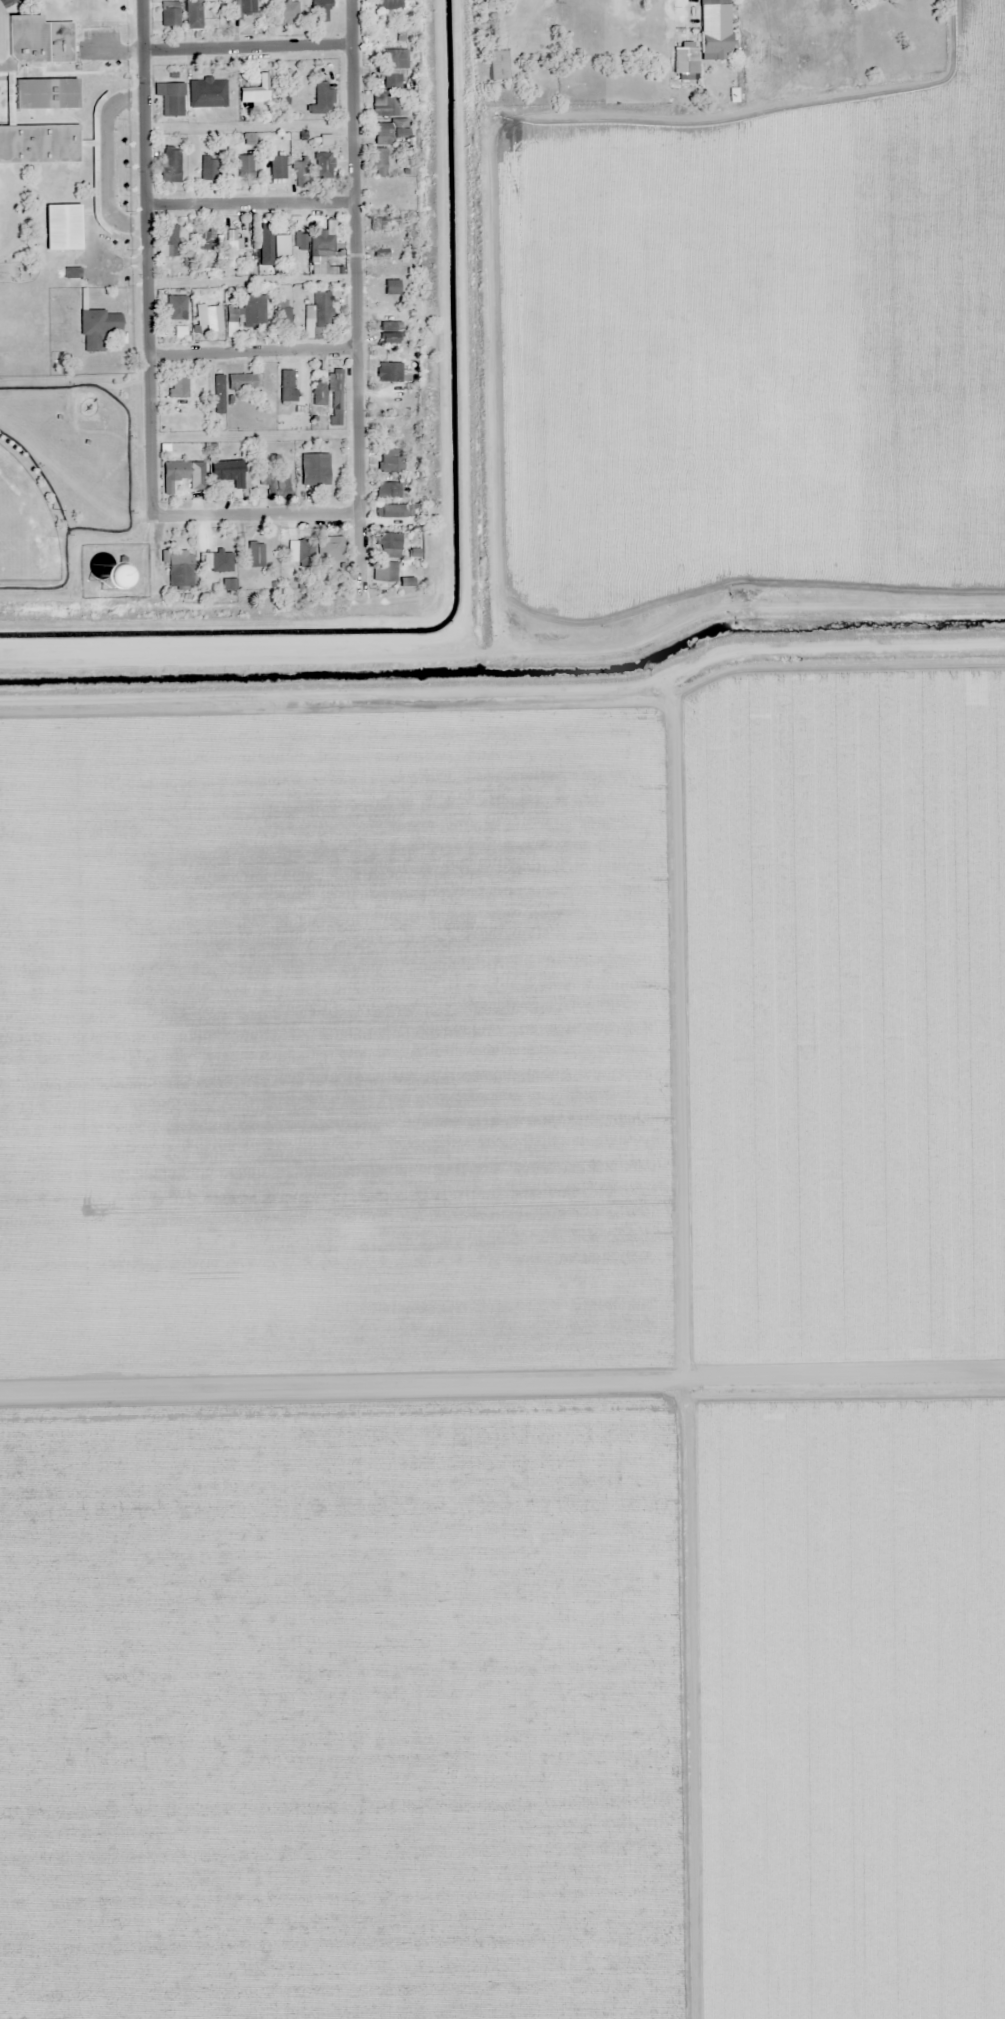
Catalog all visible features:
building: (712, 3)
building: (387, 4)
building: (241, 8)
building: (319, 10)
building: (285, 13)
building: (168, 14)
building: (192, 14)
building: (33, 41)
building: (713, 41)
road: (246, 47)
building: (684, 60)
building: (495, 64)
building: (393, 67)
building: (257, 90)
building: (206, 92)
building: (42, 93)
building: (169, 97)
building: (320, 98)
building: (383, 104)
building: (389, 129)
building: (37, 143)
building: (377, 161)
building: (169, 164)
building: (243, 164)
building: (322, 164)
building: (276, 166)
building: (208, 167)
building: (298, 173)
road: (248, 203)
building: (383, 223)
building: (60, 226)
building: (203, 238)
building: (167, 239)
building: (320, 240)
building: (264, 242)
building: (231, 247)
building: (280, 247)
road: (145, 257)
road: (356, 291)
building: (43, 306)
building: (248, 311)
building: (279, 312)
building: (208, 315)
building: (316, 316)
building: (177, 317)
building: (387, 322)
building: (96, 328)
building: (16, 329)
road: (252, 351)
building: (388, 371)
building: (334, 379)
building: (239, 381)
building: (285, 385)
building: (302, 388)
building: (177, 391)
building: (317, 393)
building: (216, 394)
building: (334, 416)
building: (394, 460)
building: (313, 469)
building: (226, 471)
building: (173, 473)
park: (61, 478)
building: (275, 483)
building: (387, 490)
building: (390, 510)
road: (255, 513)
park: (23, 524)
building: (386, 544)
building: (330, 548)
building: (300, 551)
building: (254, 554)
building: (219, 559)
building: (178, 568)
building: (386, 571)
building: (86, 578)
road: (502, 1390)

